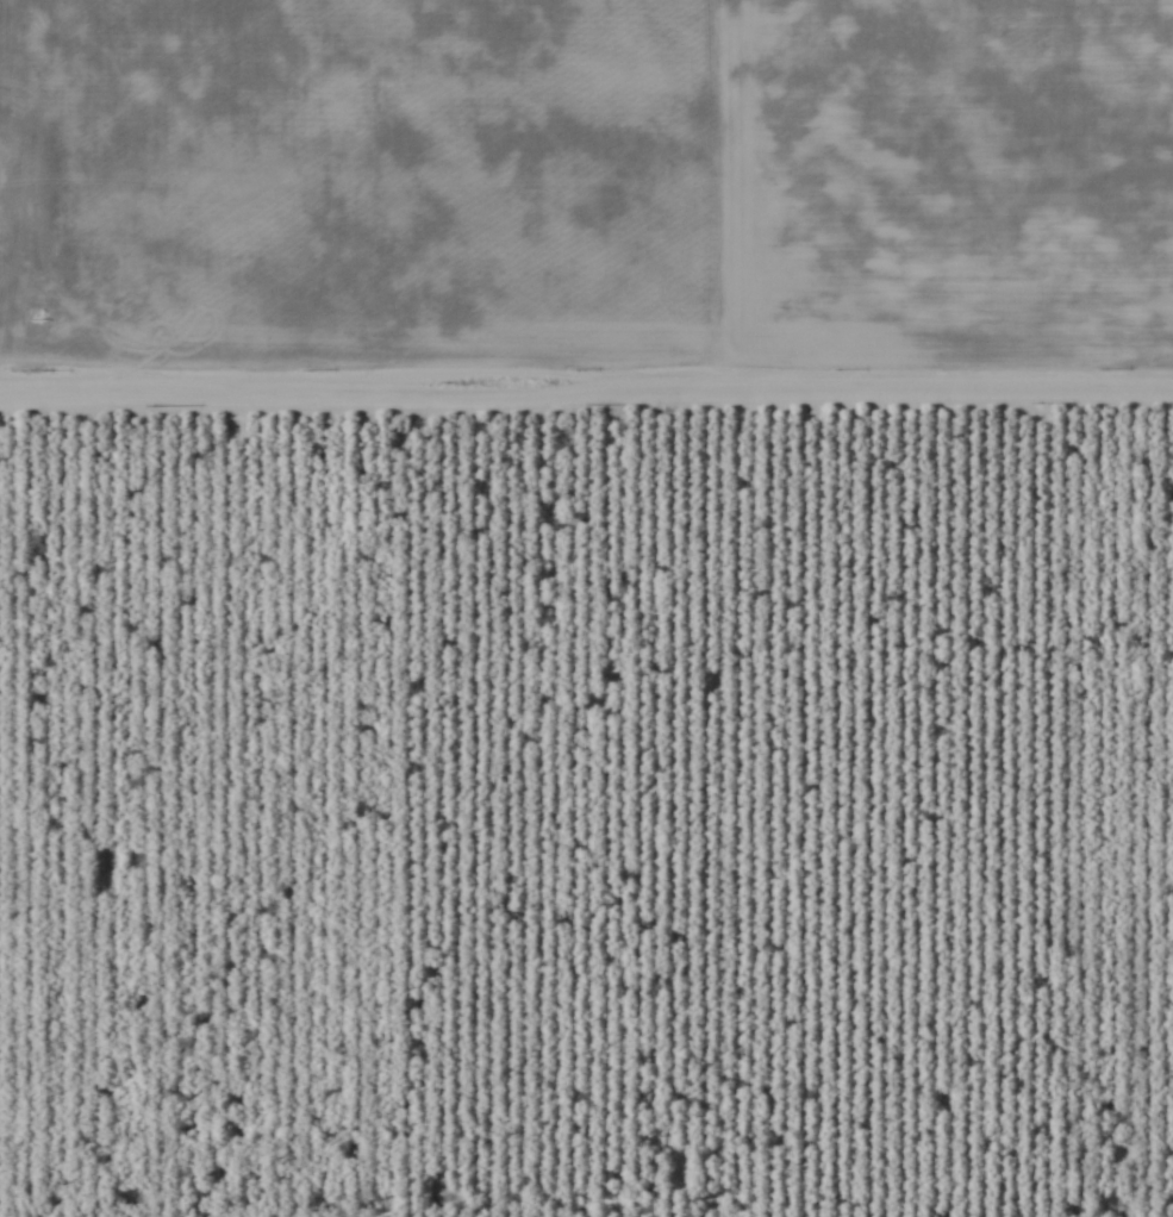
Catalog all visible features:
road: (586, 385)

